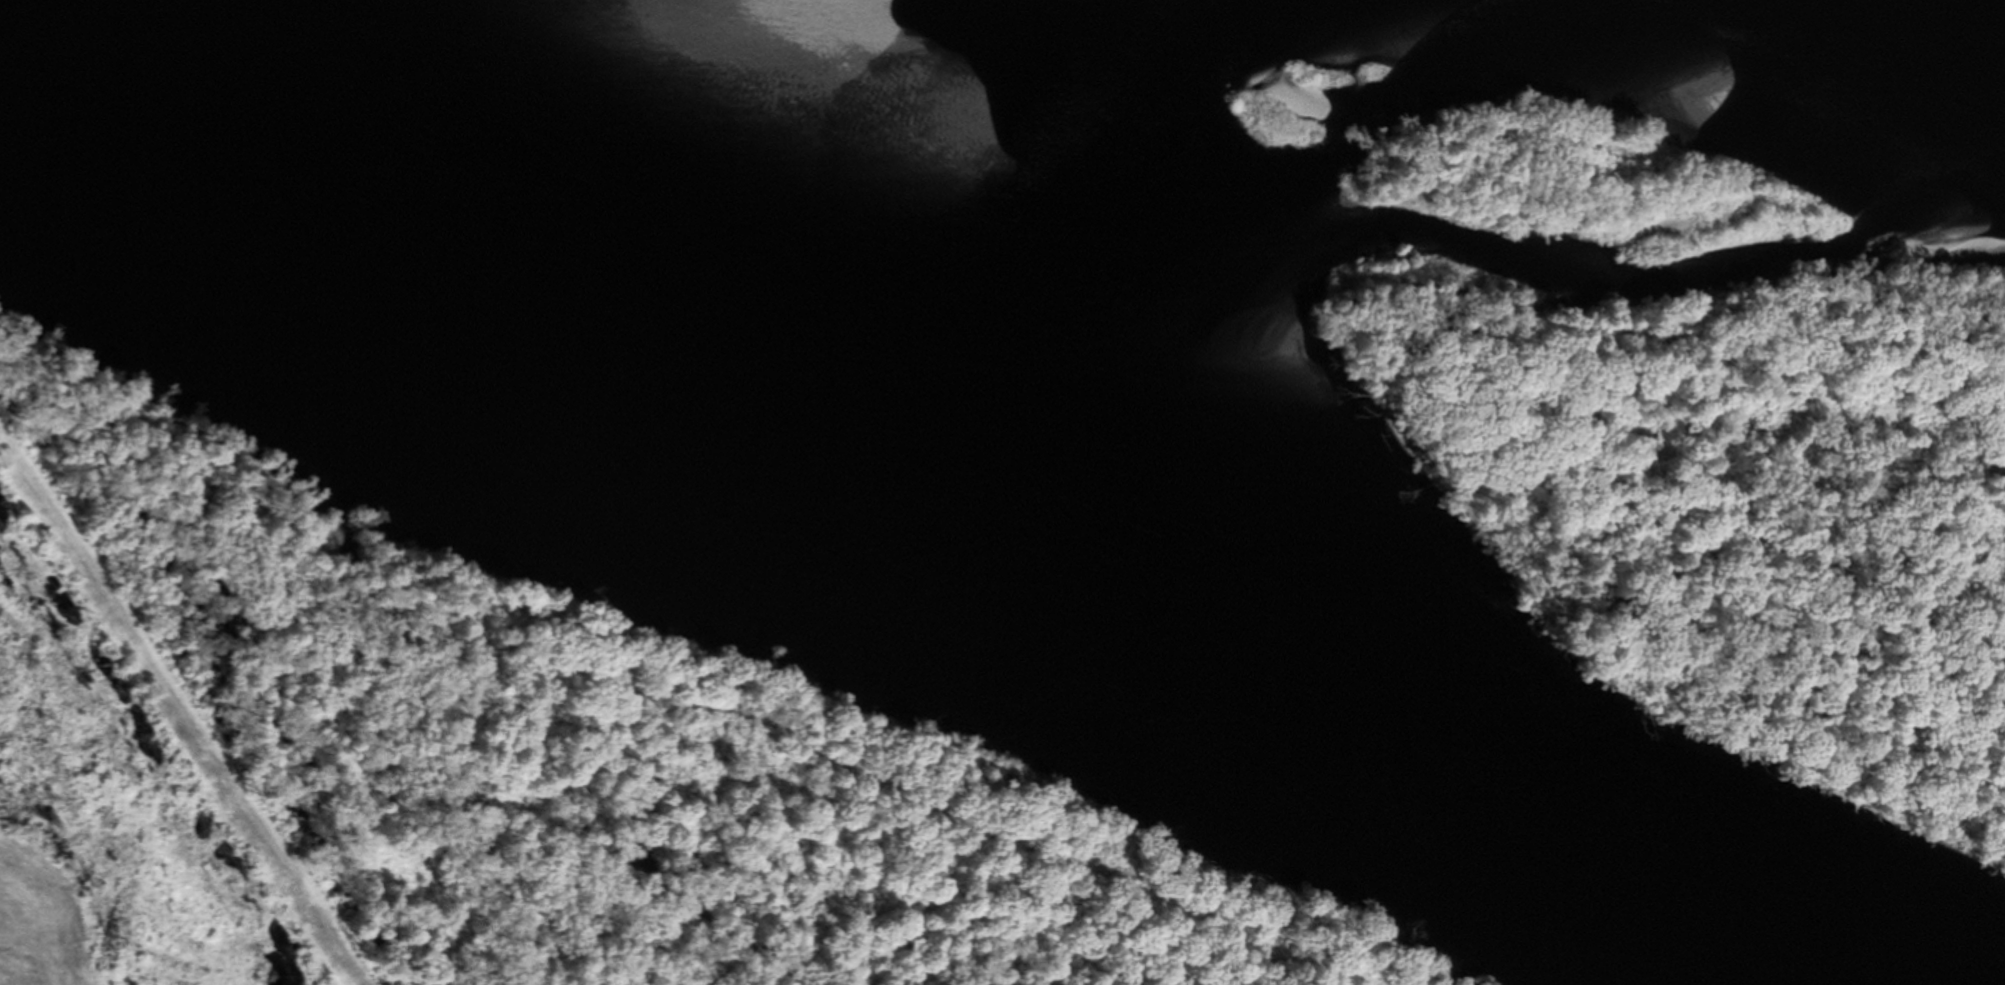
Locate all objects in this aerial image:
river: (875, 498)
road: (183, 709)

